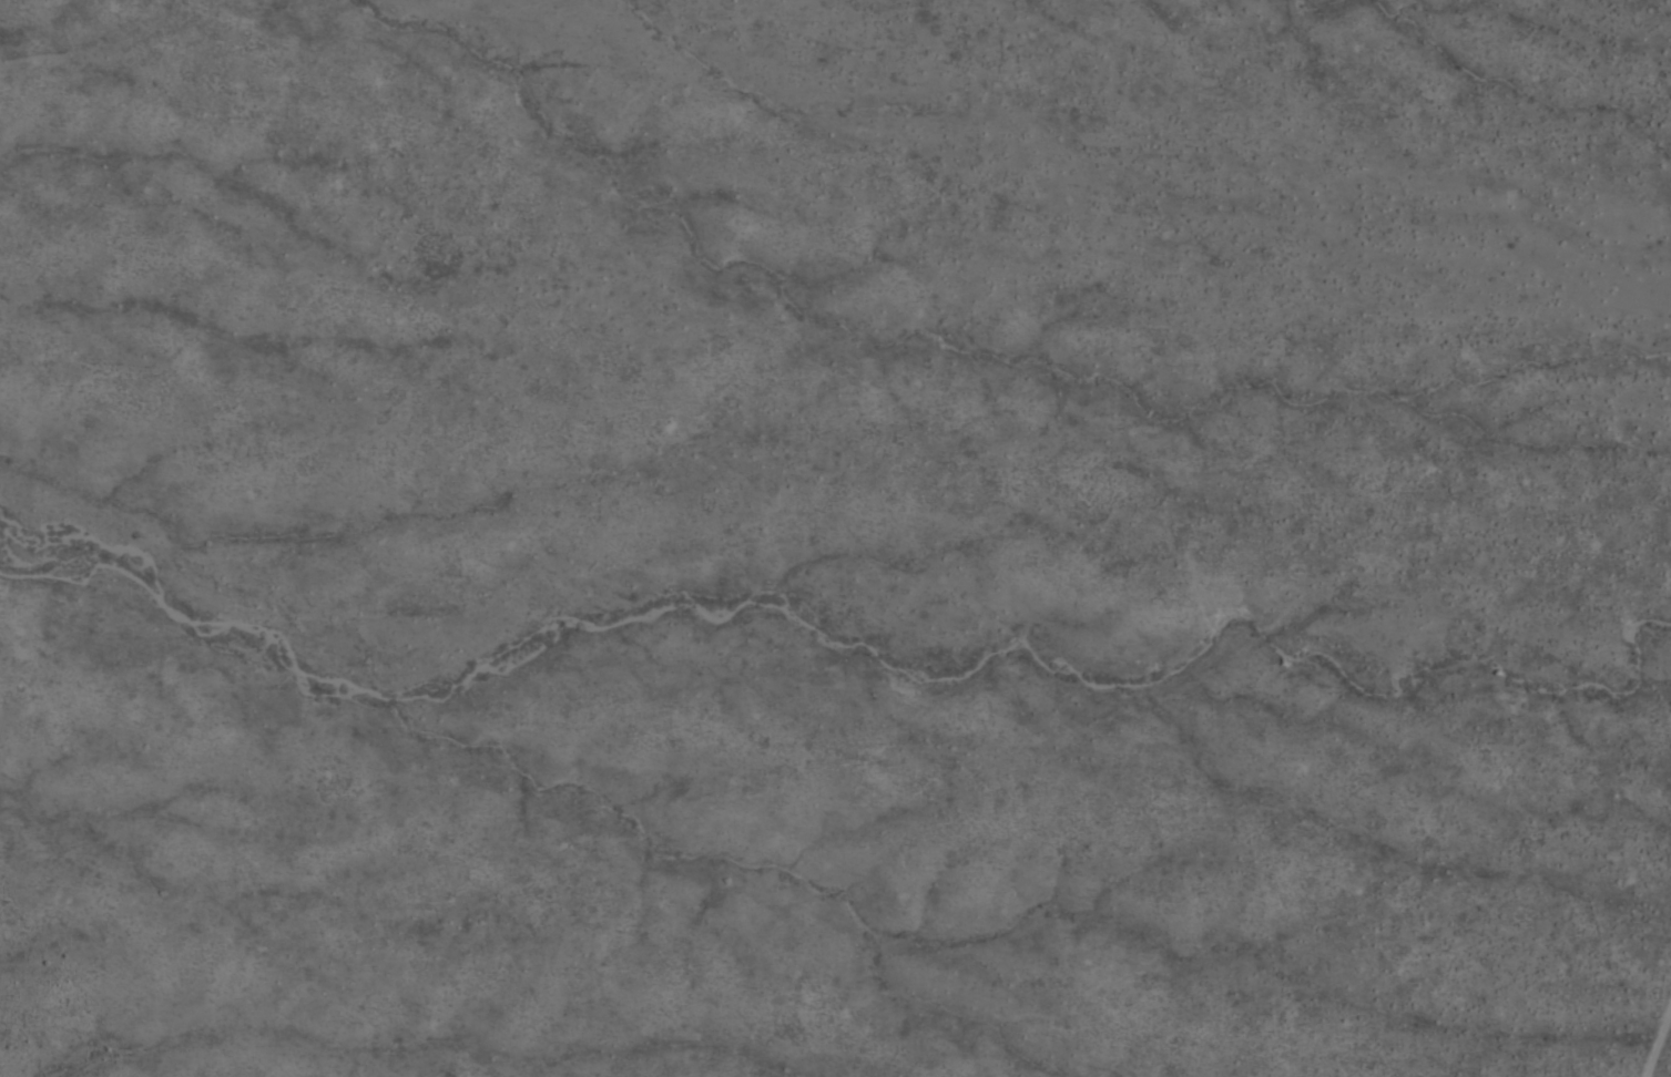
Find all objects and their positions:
road: (1657, 1038)

